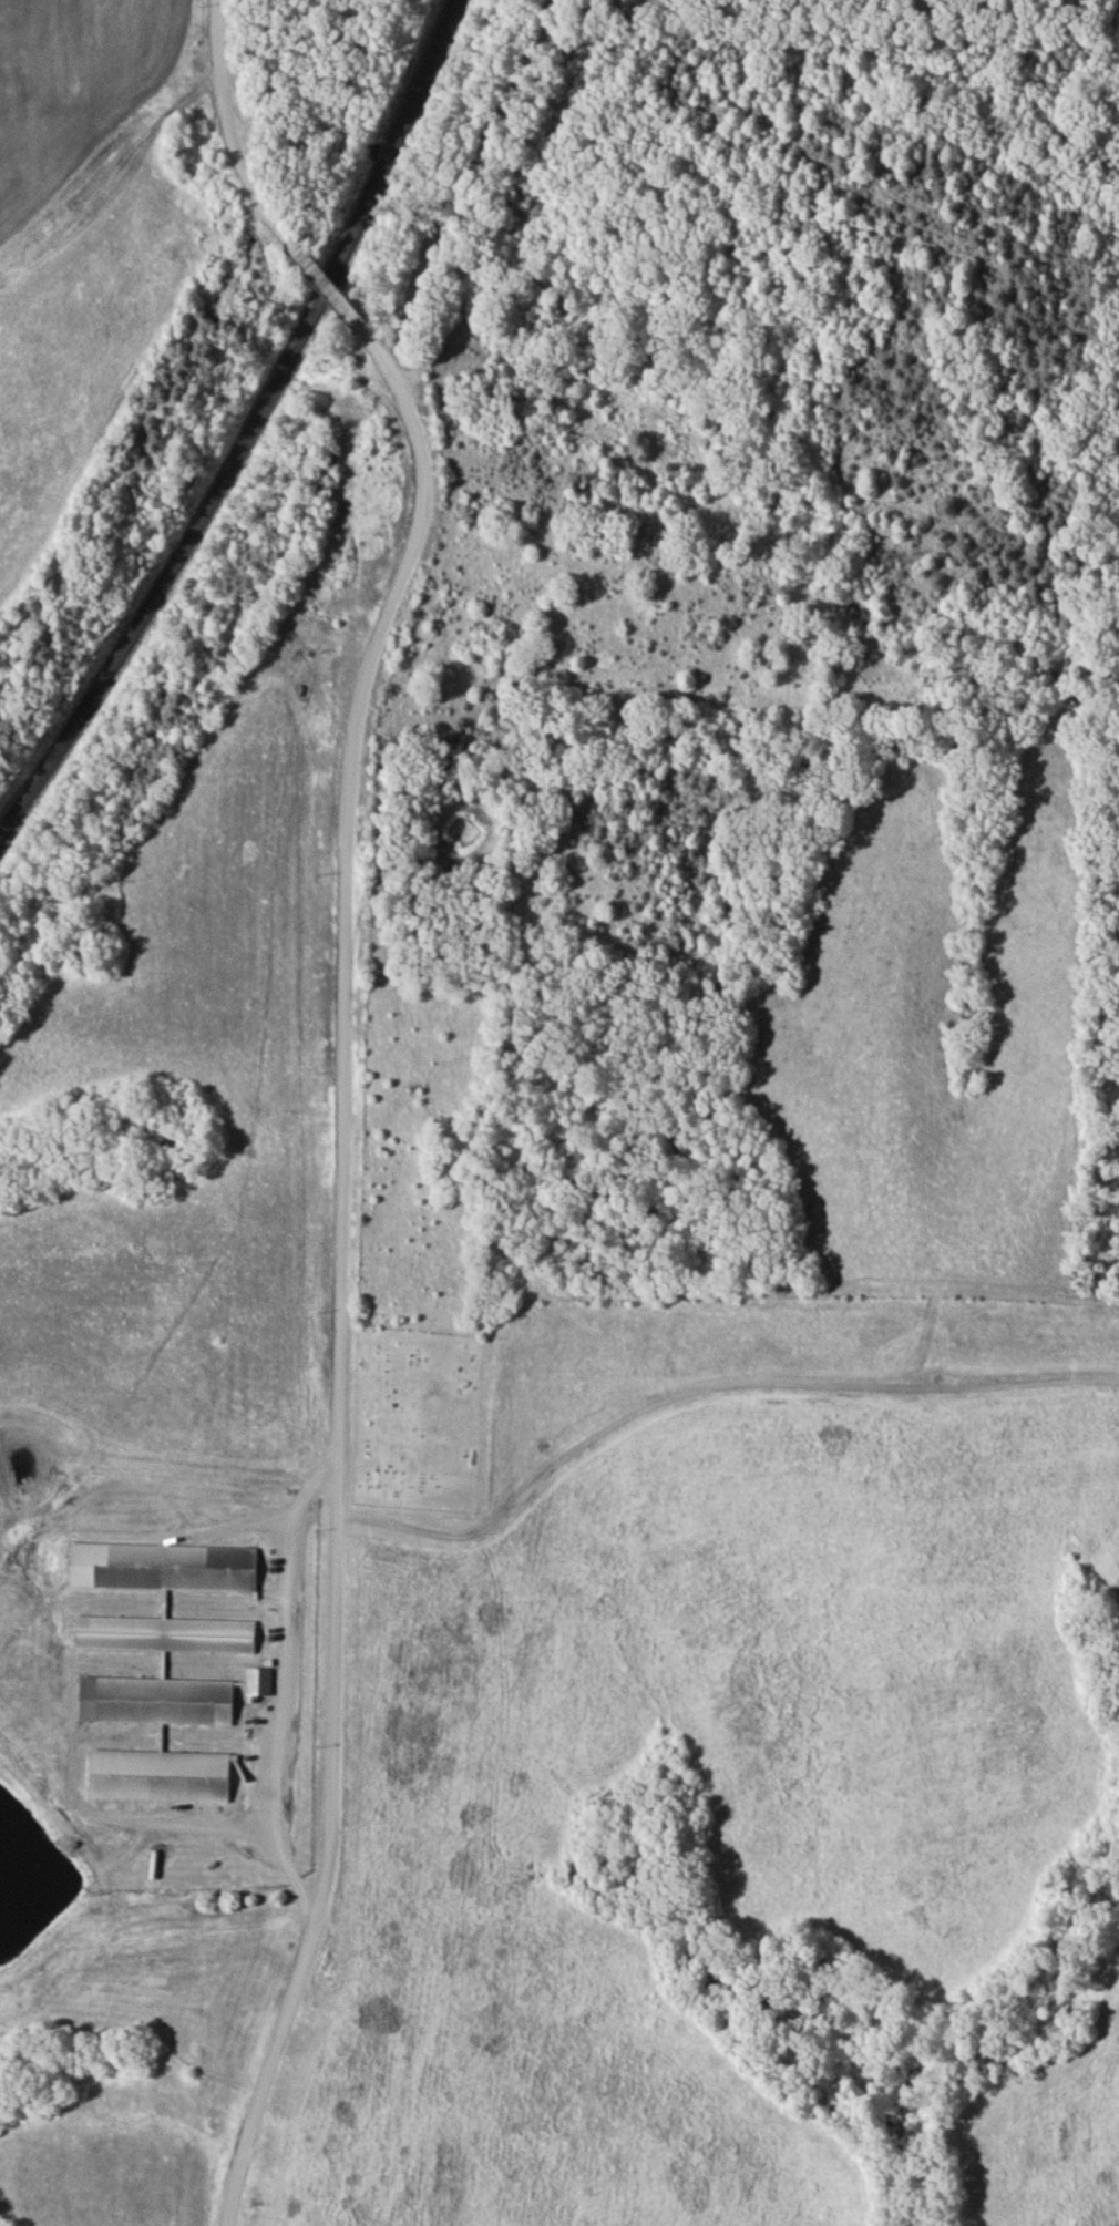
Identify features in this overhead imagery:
road: (227, 129)
road: (326, 287)
railway: (247, 430)
road: (337, 1275)
park: (419, 1419)
building: (164, 1567)
building: (164, 1633)
building: (259, 1682)
building: (156, 1700)
building: (161, 1775)

